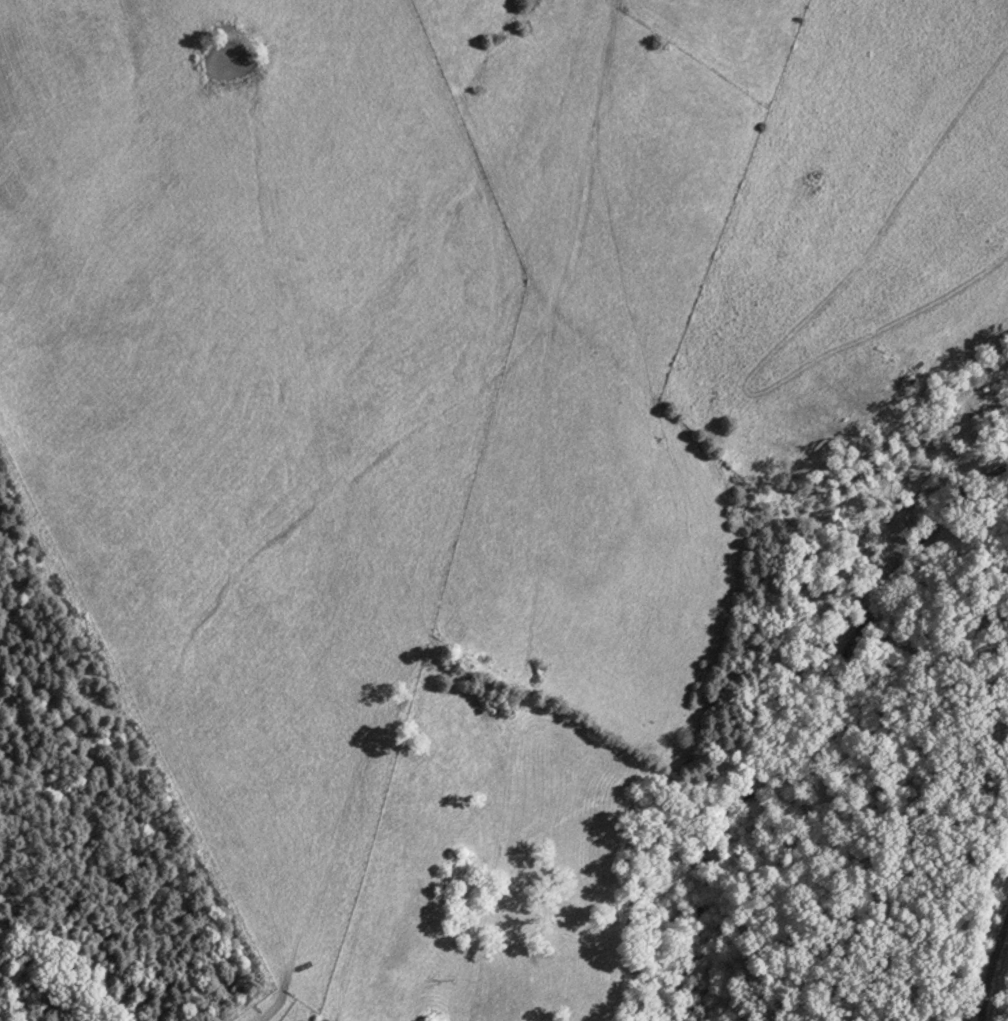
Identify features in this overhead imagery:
road: (1004, 1007)

